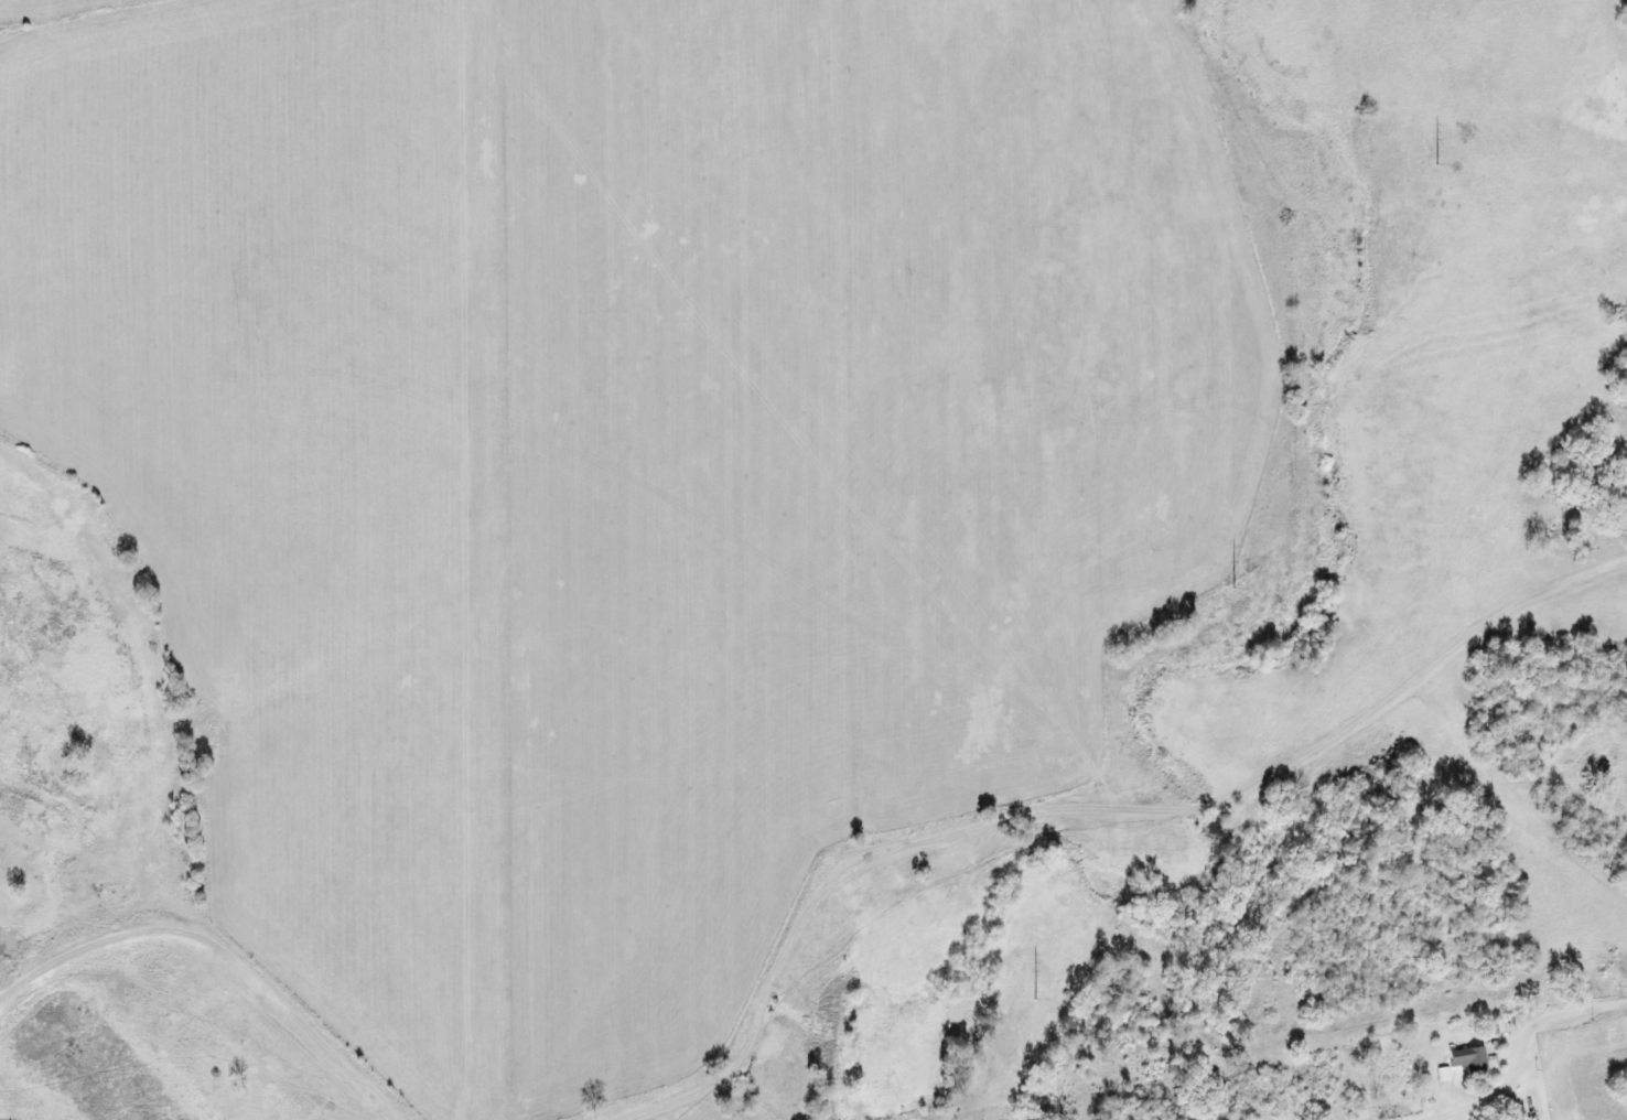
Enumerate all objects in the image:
road: (1132, 818)
road: (175, 987)
road: (1541, 1026)

